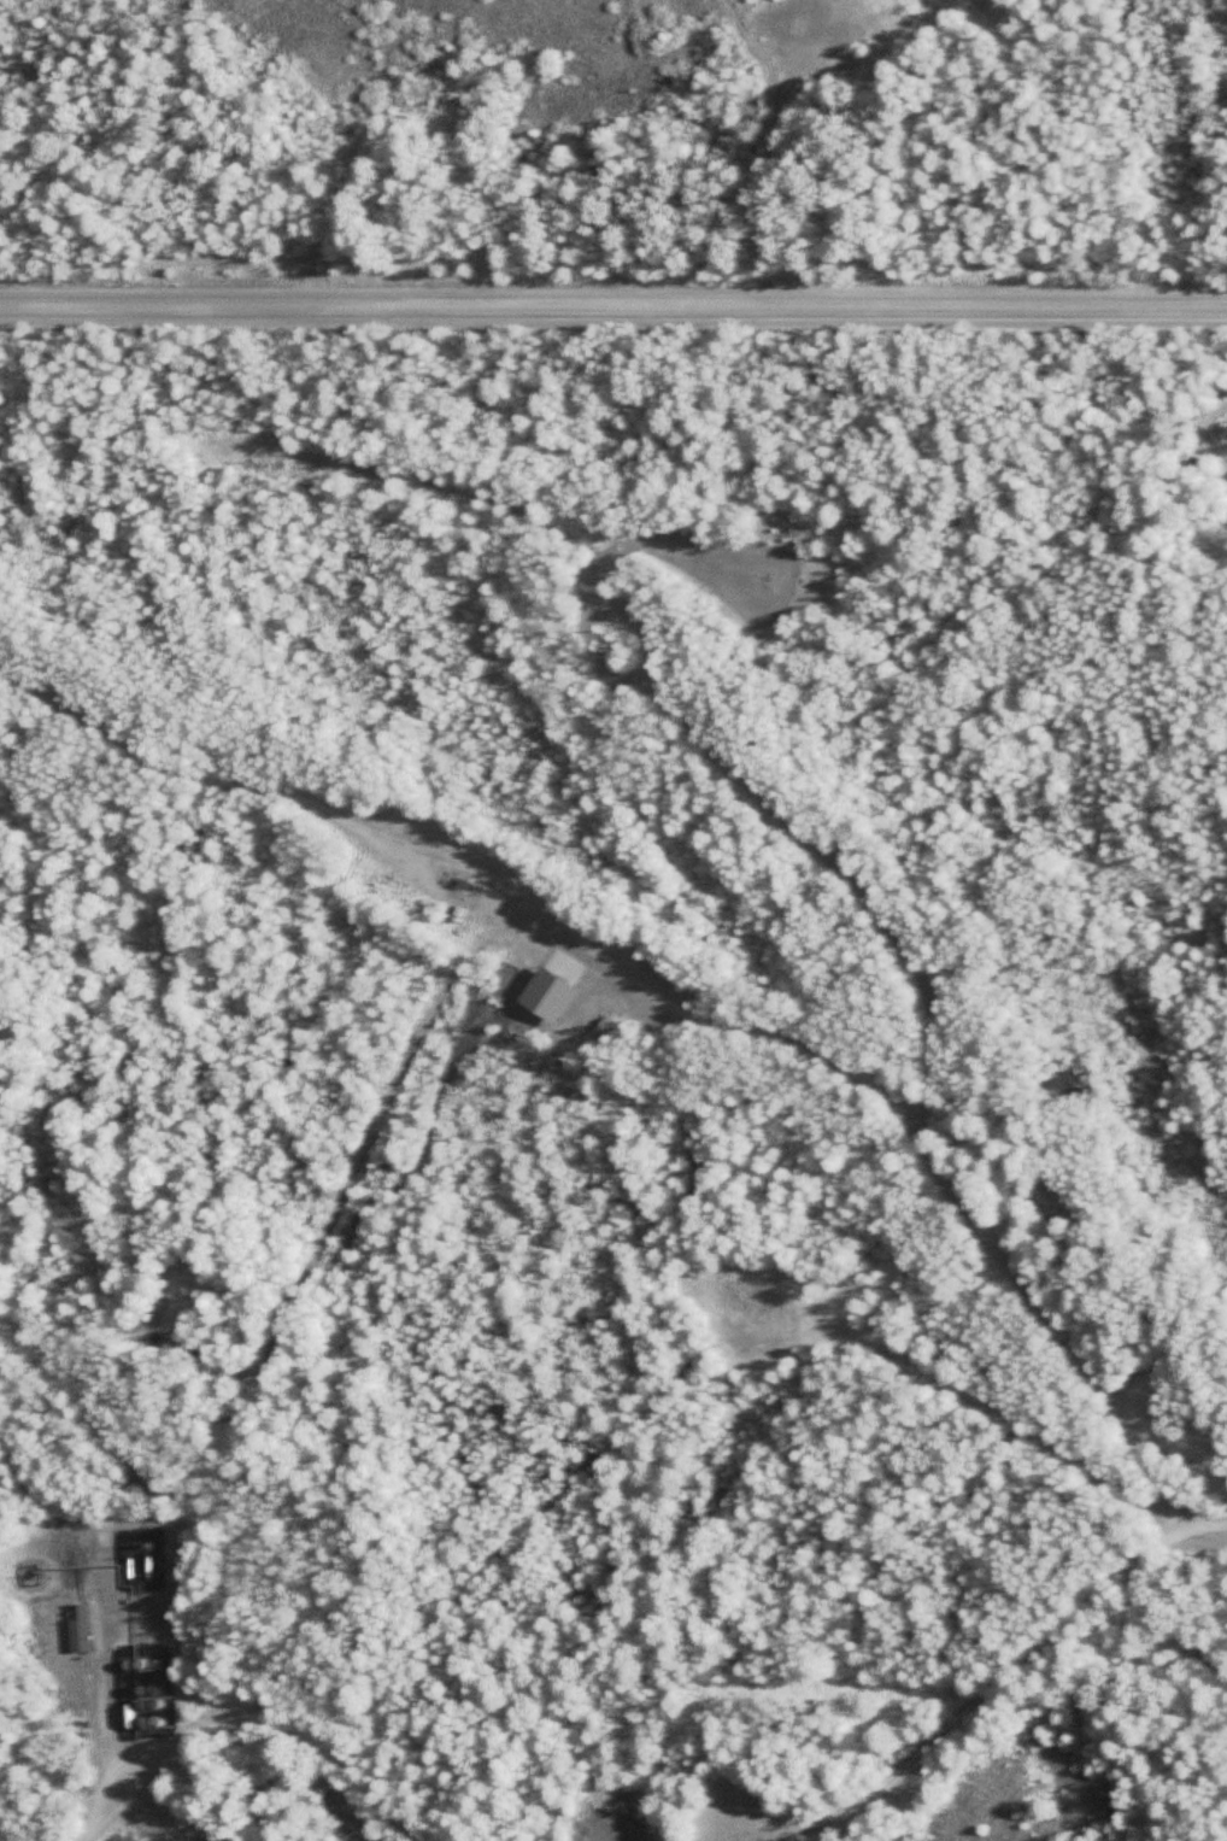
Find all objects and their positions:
road: (612, 309)
petroleum well: (469, 886)
road: (679, 987)
building: (77, 1629)
road: (1015, 1670)
road: (252, 1730)

